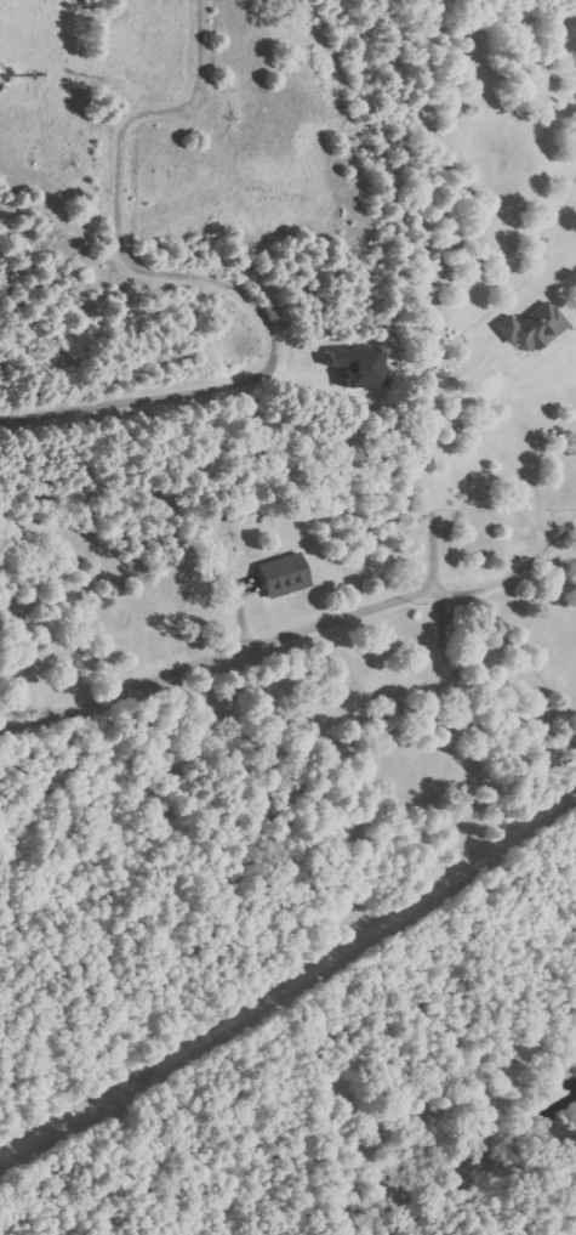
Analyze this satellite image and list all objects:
building: (535, 328)
building: (361, 367)
building: (287, 574)

